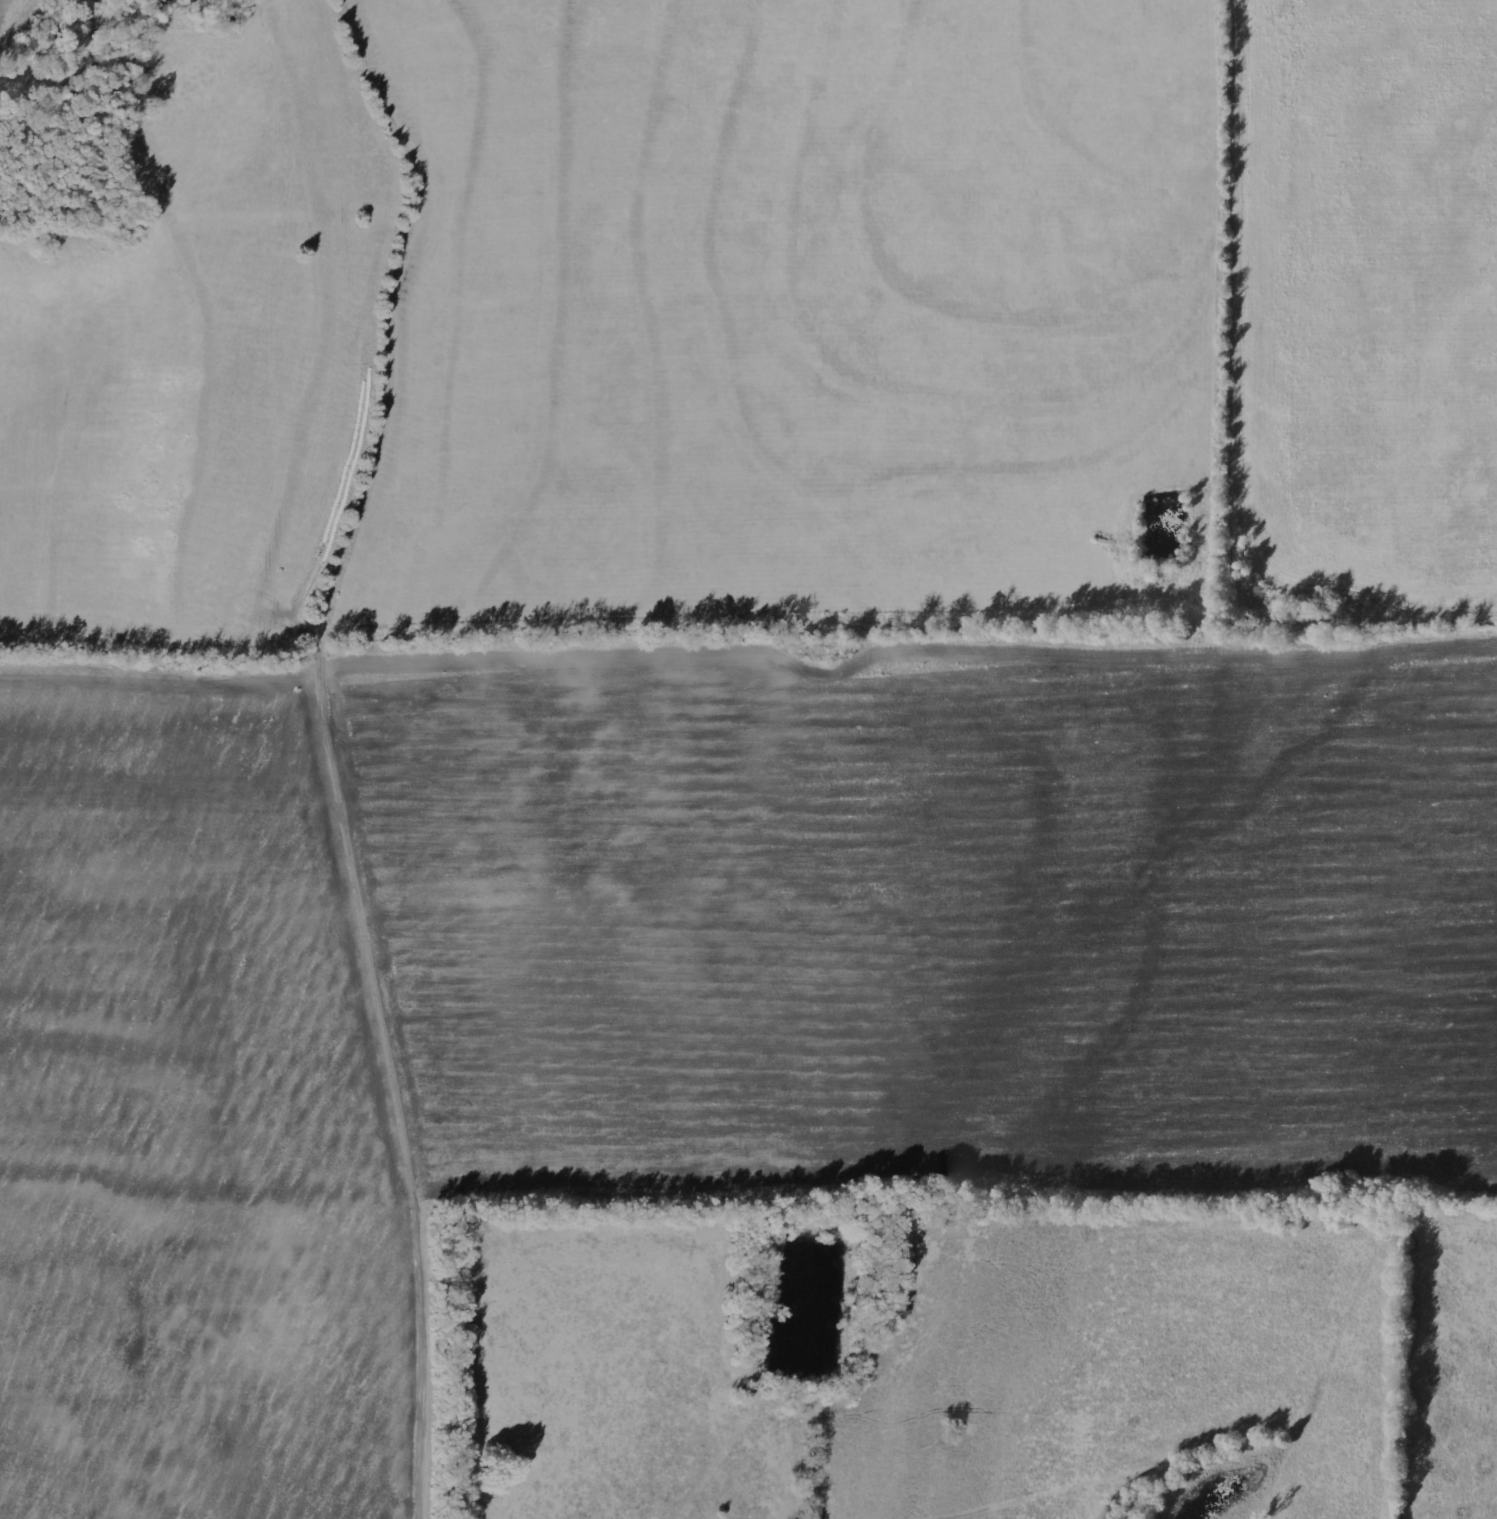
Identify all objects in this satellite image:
road: (1244, 426)

